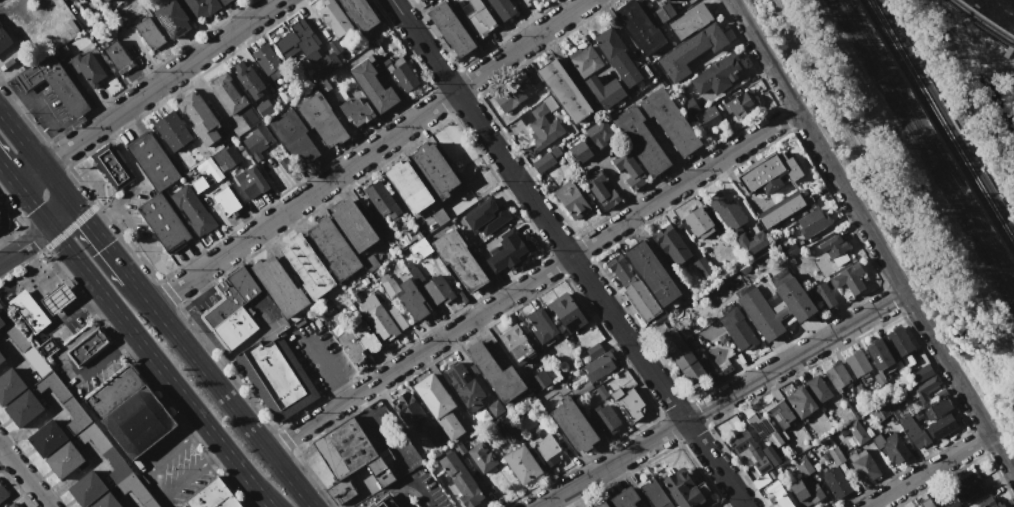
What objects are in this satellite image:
building: (421, 0)
building: (665, 0)
building: (72, 1)
building: (105, 1)
building: (224, 2)
building: (201, 7)
building: (502, 8)
building: (664, 12)
building: (360, 13)
building: (476, 17)
building: (334, 18)
building: (80, 19)
building: (172, 19)
building: (690, 20)
railway: (981, 22)
railway: (981, 24)
building: (72, 25)
building: (640, 27)
building: (451, 29)
building: (150, 33)
building: (4, 40)
building: (609, 42)
building: (299, 43)
building: (64, 50)
building: (377, 50)
building: (691, 51)
building: (118, 57)
building: (585, 60)
building: (267, 61)
building: (387, 63)
building: (325, 67)
building: (87, 68)
building: (625, 68)
building: (716, 75)
building: (405, 77)
building: (533, 77)
building: (249, 80)
building: (55, 84)
building: (323, 86)
building: (372, 86)
road: (147, 91)
building: (564, 91)
building: (605, 91)
building: (509, 96)
building: (233, 99)
building: (741, 104)
road: (40, 106)
building: (265, 107)
building: (689, 107)
building: (354, 109)
building: (709, 111)
building: (200, 117)
railway: (945, 117)
building: (322, 119)
building: (710, 120)
building: (671, 121)
building: (544, 126)
railway: (938, 126)
building: (173, 131)
building: (599, 133)
building: (294, 138)
building: (640, 140)
building: (258, 141)
railway: (927, 144)
building: (279, 152)
road: (369, 152)
building: (581, 152)
building: (243, 153)
railway: (922, 153)
road: (37, 158)
building: (228, 159)
building: (546, 160)
building: (153, 162)
building: (287, 165)
building: (113, 167)
building: (209, 169)
building: (629, 169)
building: (433, 170)
building: (770, 173)
road: (7, 174)
road: (139, 181)
building: (251, 182)
building: (199, 184)
building: (408, 186)
building: (600, 190)
building: (382, 199)
building: (226, 200)
building: (570, 200)
road: (32, 206)
building: (193, 209)
building: (781, 210)
building: (727, 211)
building: (440, 216)
building: (485, 217)
building: (164, 222)
building: (812, 222)
building: (379, 223)
building: (699, 223)
building: (353, 225)
building: (402, 232)
road: (38, 235)
building: (388, 235)
road: (872, 235)
building: (405, 239)
road: (103, 242)
building: (752, 242)
building: (833, 244)
road: (146, 246)
building: (671, 246)
building: (334, 248)
building: (420, 248)
building: (509, 250)
building: (789, 251)
road: (569, 253)
building: (459, 261)
building: (371, 263)
building: (307, 266)
building: (703, 267)
building: (413, 271)
building: (651, 272)
building: (849, 278)
road: (533, 280)
building: (388, 284)
building: (279, 286)
building: (439, 289)
building: (633, 289)
road: (142, 291)
building: (823, 294)
building: (793, 296)
building: (57, 298)
building: (413, 299)
building: (232, 309)
road: (74, 310)
building: (29, 311)
building: (567, 313)
building: (760, 313)
building: (2, 316)
building: (377, 319)
building: (541, 323)
building: (738, 330)
building: (16, 335)
building: (366, 337)
building: (515, 342)
building: (899, 342)
building: (89, 346)
building: (351, 346)
building: (598, 349)
building: (880, 355)
building: (1, 358)
building: (684, 359)
building: (37, 361)
building: (857, 363)
road: (66, 367)
road: (159, 367)
road: (327, 369)
building: (596, 371)
building: (496, 373)
building: (921, 373)
building: (839, 374)
building: (277, 378)
building: (539, 380)
building: (464, 385)
building: (10, 386)
building: (51, 386)
building: (818, 389)
building: (923, 390)
building: (114, 392)
building: (601, 392)
road: (724, 401)
building: (800, 401)
building: (628, 403)
road: (232, 405)
building: (439, 406)
building: (941, 406)
building: (495, 408)
building: (23, 409)
building: (409, 409)
building: (75, 414)
building: (482, 415)
building: (778, 416)
building: (604, 419)
building: (139, 422)
building: (573, 425)
building: (942, 426)
building: (507, 427)
road: (380, 429)
building: (763, 429)
building: (856, 431)
building: (913, 431)
building: (433, 433)
building: (46, 439)
building: (344, 448)
building: (458, 448)
building: (890, 448)
building: (550, 449)
building: (104, 451)
building: (750, 452)
road: (2, 453)
building: (771, 454)
building: (482, 456)
building: (64, 460)
building: (523, 464)
building: (863, 466)
building: (803, 467)
road: (930, 469)
building: (379, 471)
building: (772, 474)
road: (24, 476)
building: (462, 480)
building: (761, 480)
building: (834, 482)
road: (157, 483)
building: (966, 487)
building: (87, 489)
building: (686, 489)
building: (136, 490)
building: (341, 491)
road: (382, 492)
building: (806, 492)
building: (3, 493)
building: (777, 493)
building: (655, 494)
building: (213, 496)
building: (626, 497)
road: (168, 501)
building: (105, 502)
building: (385, 502)
building: (926, 502)
building: (988, 503)
building: (12, 505)
building: (603, 505)

